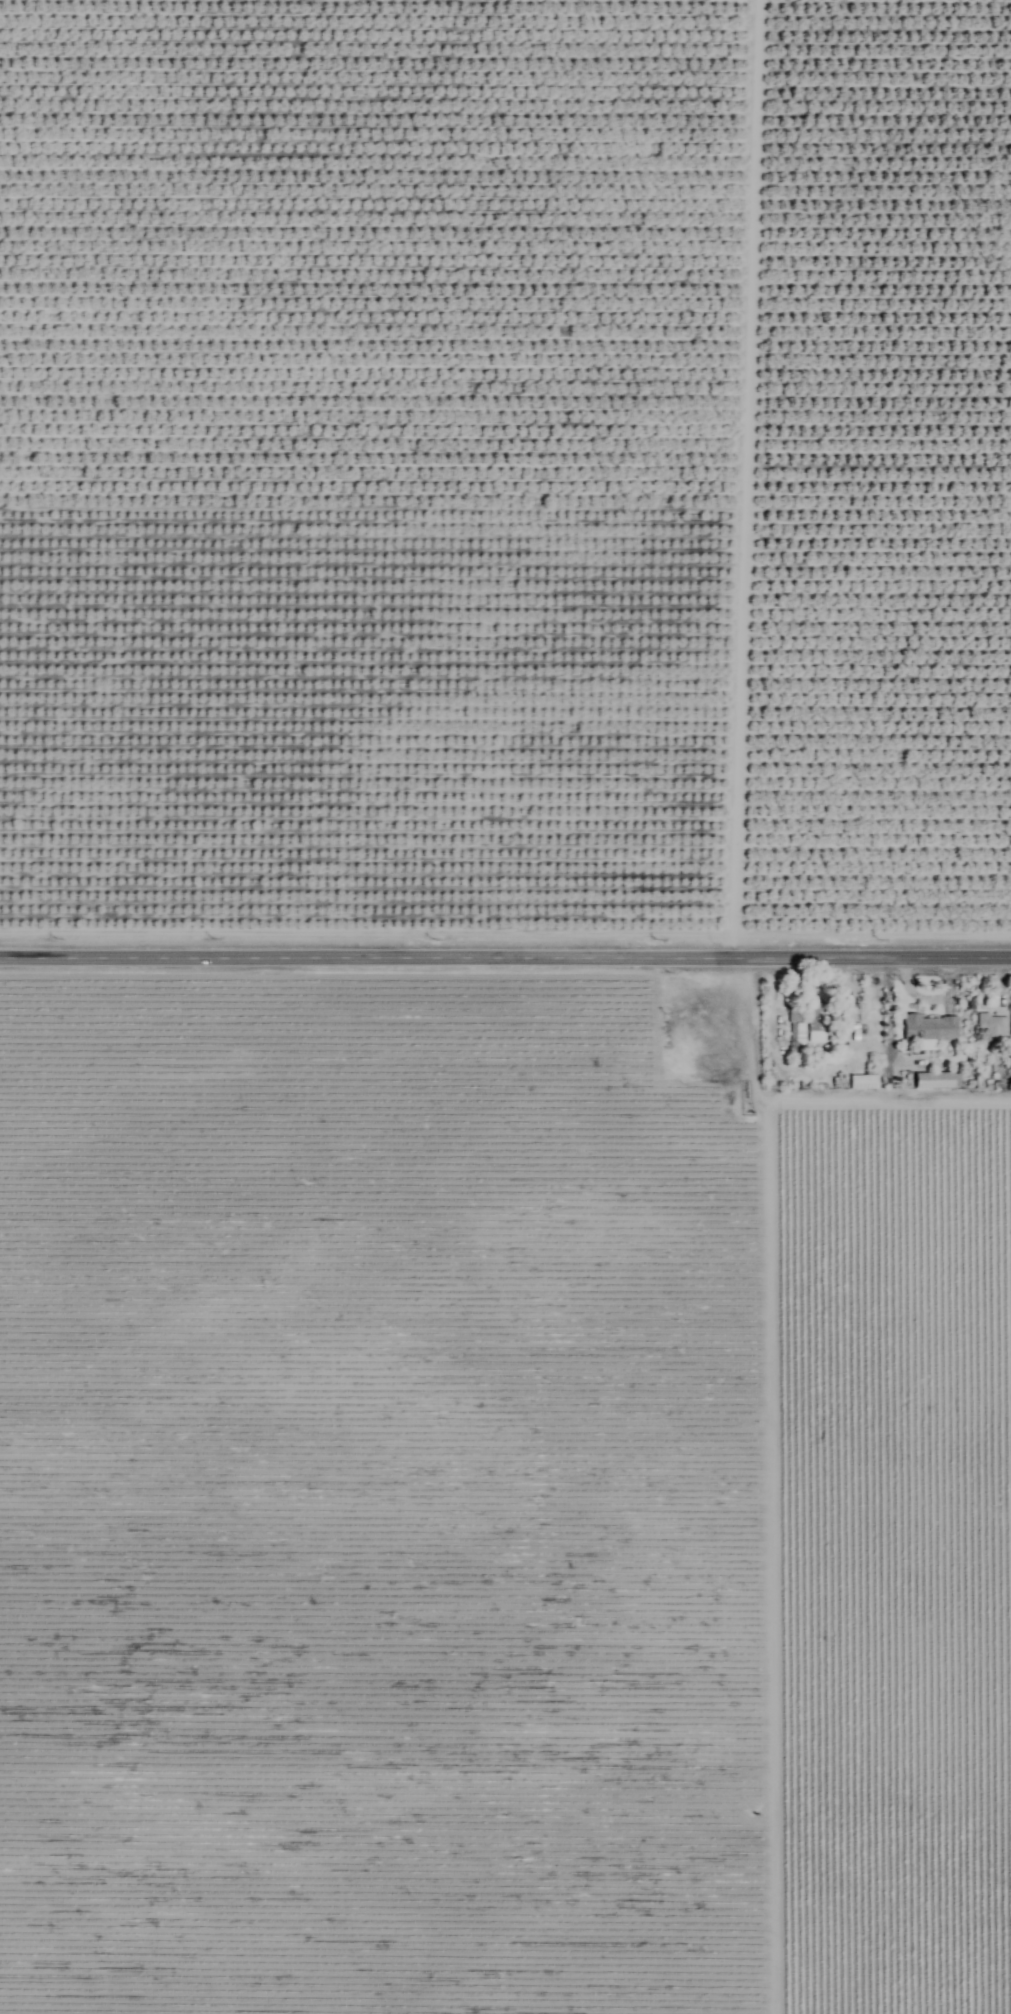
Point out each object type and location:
road: (741, 478)
road: (505, 956)
road: (883, 1013)
building: (929, 1028)
building: (926, 1081)
road: (765, 1483)

